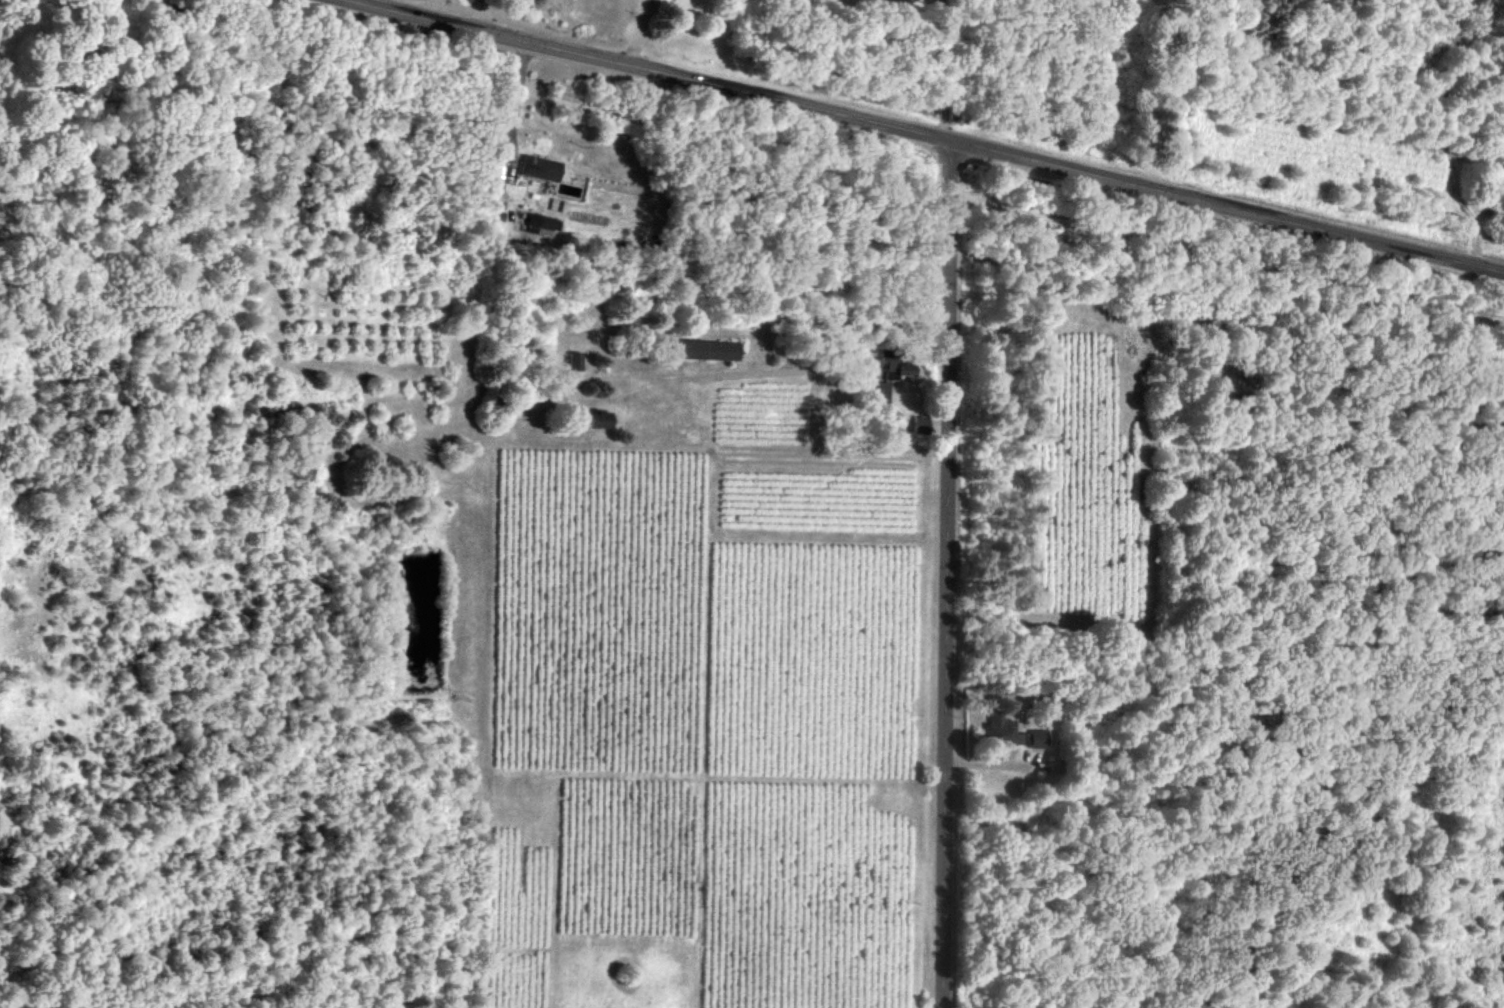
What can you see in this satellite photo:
road: (936, 134)
road: (821, 163)
building: (540, 167)
building: (540, 224)
building: (707, 349)
building: (575, 359)
building: (893, 364)
building: (880, 391)
building: (600, 418)
building: (920, 424)
road: (945, 572)
building: (999, 729)
building: (1037, 738)

